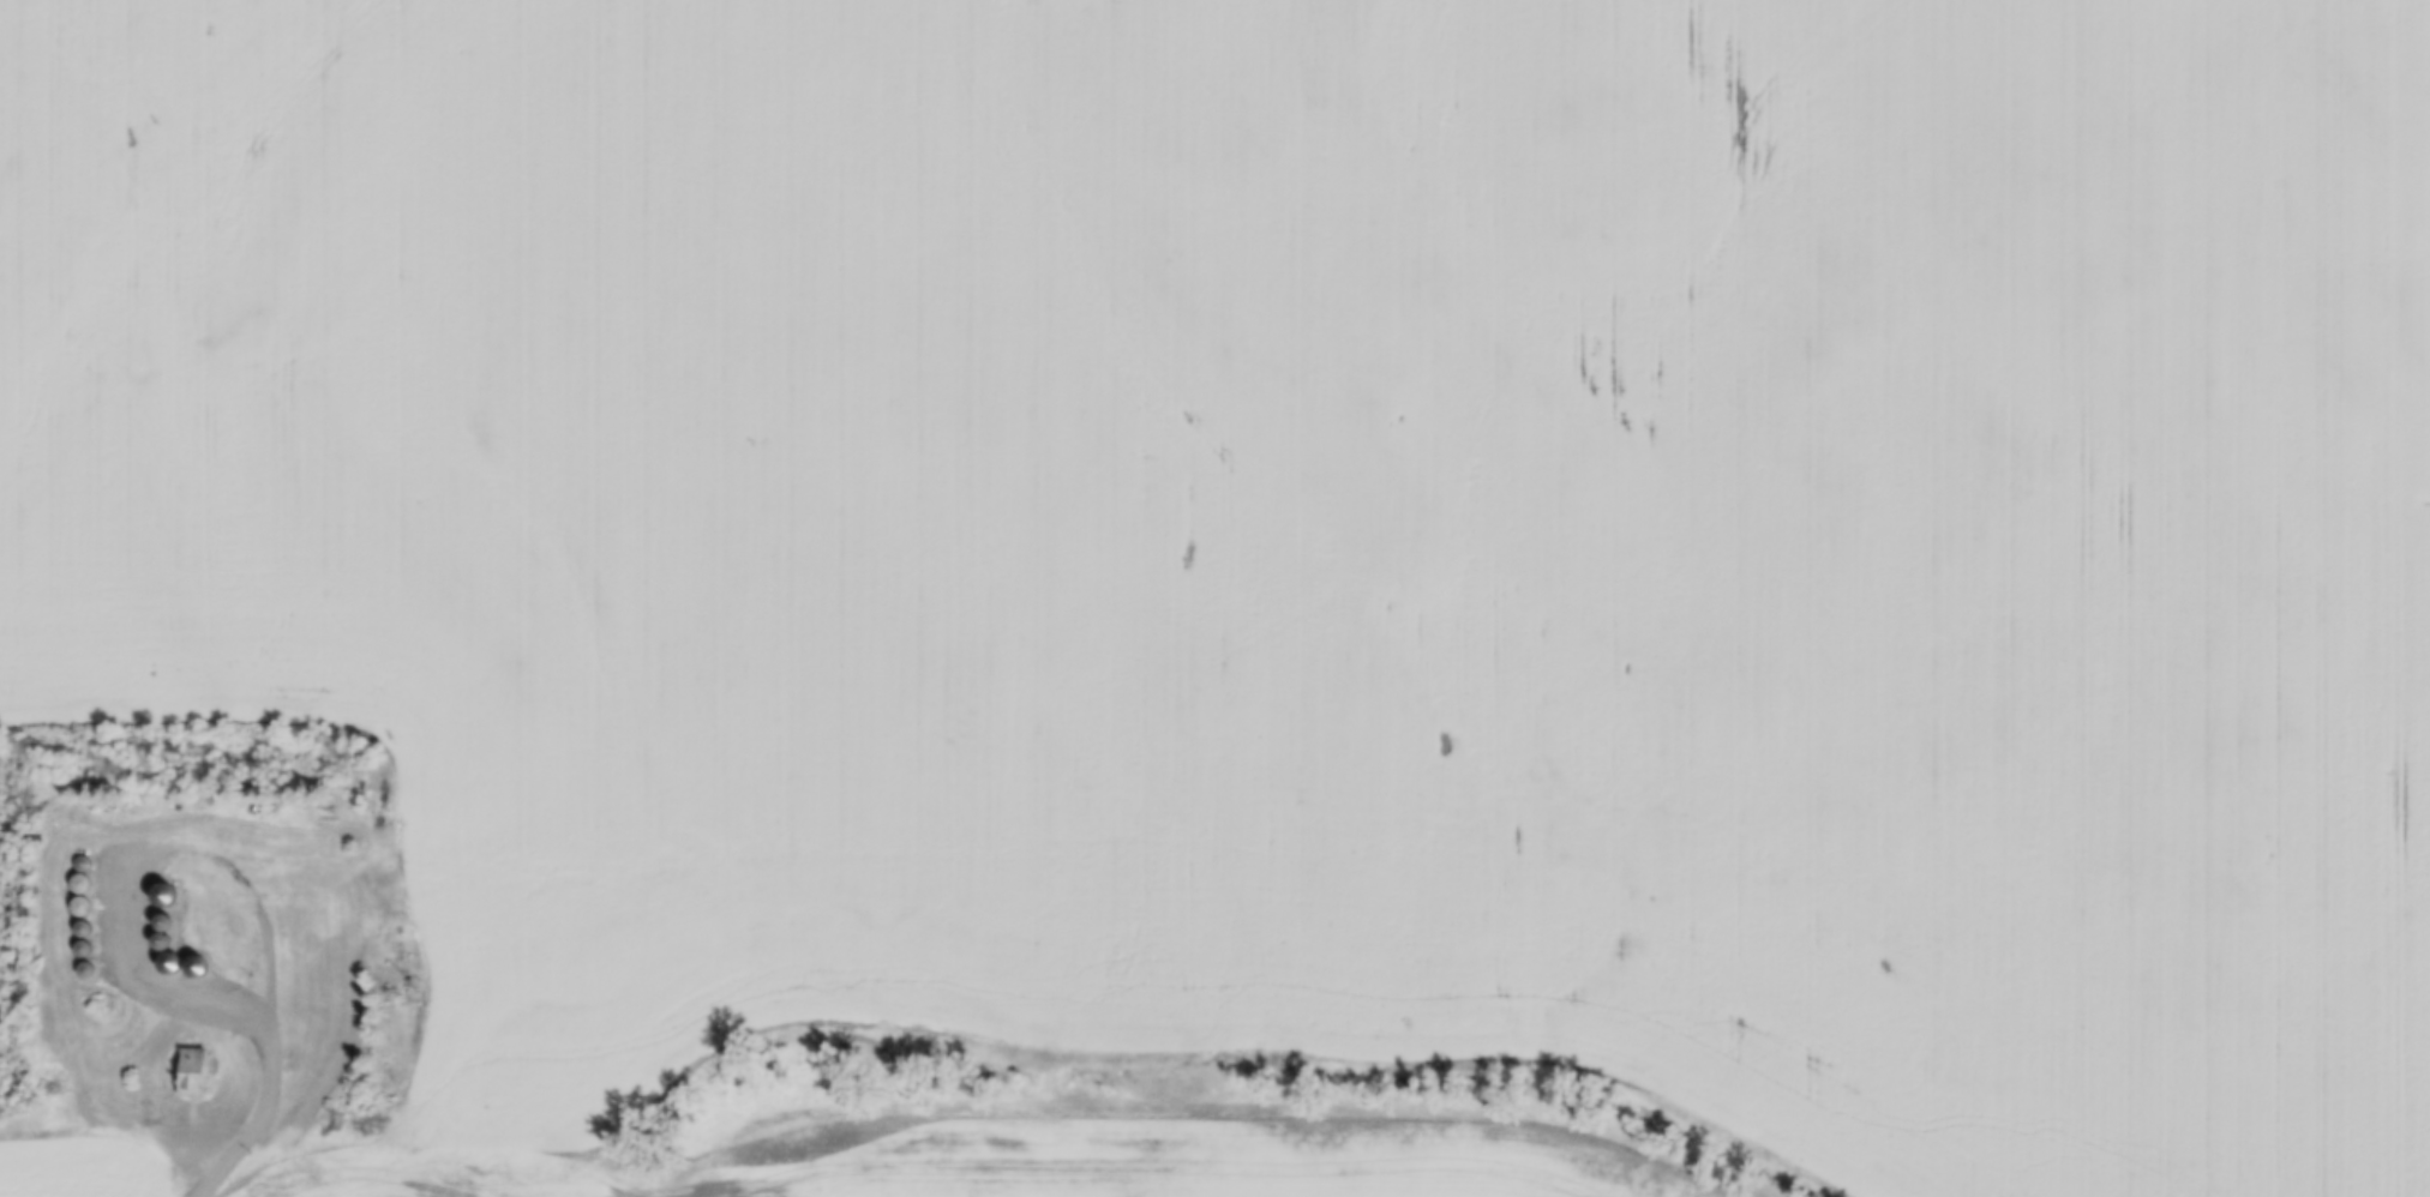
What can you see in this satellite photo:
building: (170, 895)
building: (203, 967)
road: (271, 1070)
building: (200, 1073)

